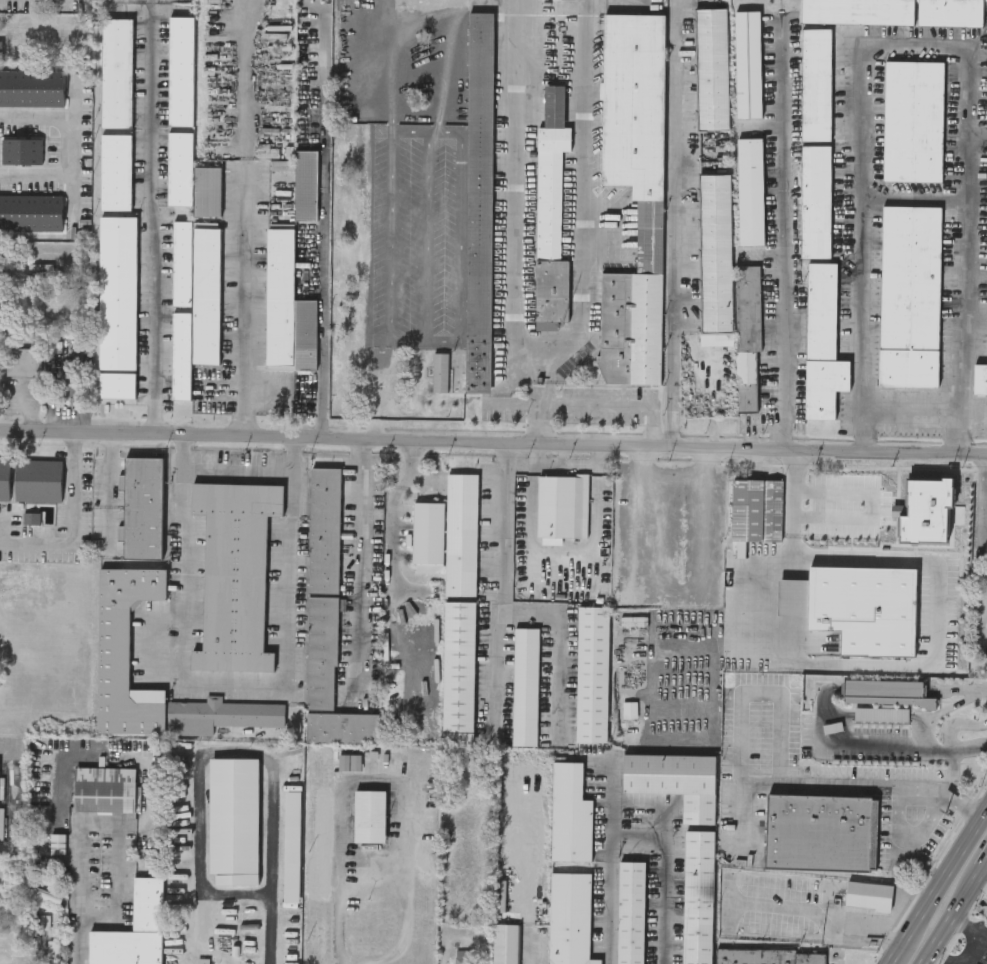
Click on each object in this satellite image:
building: (856, 11)
building: (949, 12)
building: (1, 46)
road: (916, 48)
building: (746, 63)
building: (710, 68)
building: (180, 70)
building: (116, 72)
building: (815, 83)
building: (32, 87)
building: (912, 119)
road: (27, 130)
road: (978, 141)
building: (21, 150)
road: (55, 155)
building: (179, 168)
building: (115, 171)
road: (28, 177)
building: (302, 181)
road: (514, 186)
building: (207, 190)
road: (583, 190)
building: (633, 191)
building: (748, 191)
building: (479, 199)
building: (815, 200)
road: (915, 200)
building: (550, 211)
building: (31, 212)
road: (156, 215)
road: (245, 223)
road: (322, 224)
road: (787, 235)
road: (677, 236)
building: (714, 259)
building: (117, 291)
building: (206, 294)
building: (909, 294)
building: (280, 295)
building: (747, 307)
building: (181, 309)
building: (305, 333)
building: (821, 342)
building: (371, 357)
building: (22, 360)
building: (980, 379)
building: (68, 381)
building: (746, 381)
building: (116, 383)
road: (548, 383)
road: (537, 399)
road: (514, 405)
road: (612, 405)
road: (912, 412)
road: (275, 426)
road: (493, 439)
road: (241, 468)
building: (4, 478)
building: (38, 480)
road: (672, 481)
building: (561, 504)
building: (142, 506)
building: (755, 508)
building: (866, 515)
road: (78, 522)
road: (393, 530)
building: (933, 535)
road: (795, 542)
road: (561, 549)
road: (358, 565)
building: (234, 573)
road: (506, 578)
building: (322, 585)
building: (856, 605)
building: (459, 608)
building: (633, 620)
road: (983, 624)
road: (557, 638)
building: (124, 652)
road: (860, 667)
building: (592, 673)
road: (234, 683)
building: (524, 685)
road: (762, 694)
building: (880, 714)
building: (219, 715)
building: (342, 727)
road: (905, 750)
road: (5, 753)
road: (205, 756)
road: (379, 780)
building: (674, 781)
building: (0, 783)
road: (867, 783)
building: (103, 789)
road: (740, 813)
building: (369, 814)
building: (569, 814)
building: (233, 820)
road: (118, 826)
building: (819, 832)
building: (291, 845)
road: (986, 863)
road: (523, 866)
road: (609, 869)
road: (664, 872)
road: (942, 886)
building: (697, 897)
building: (868, 897)
building: (630, 912)
road: (953, 914)
building: (569, 919)
road: (818, 919)
road: (970, 923)
building: (133, 930)
road: (269, 930)
road: (81, 941)
building: (504, 944)
building: (769, 956)
road: (895, 960)
building: (50, 961)

